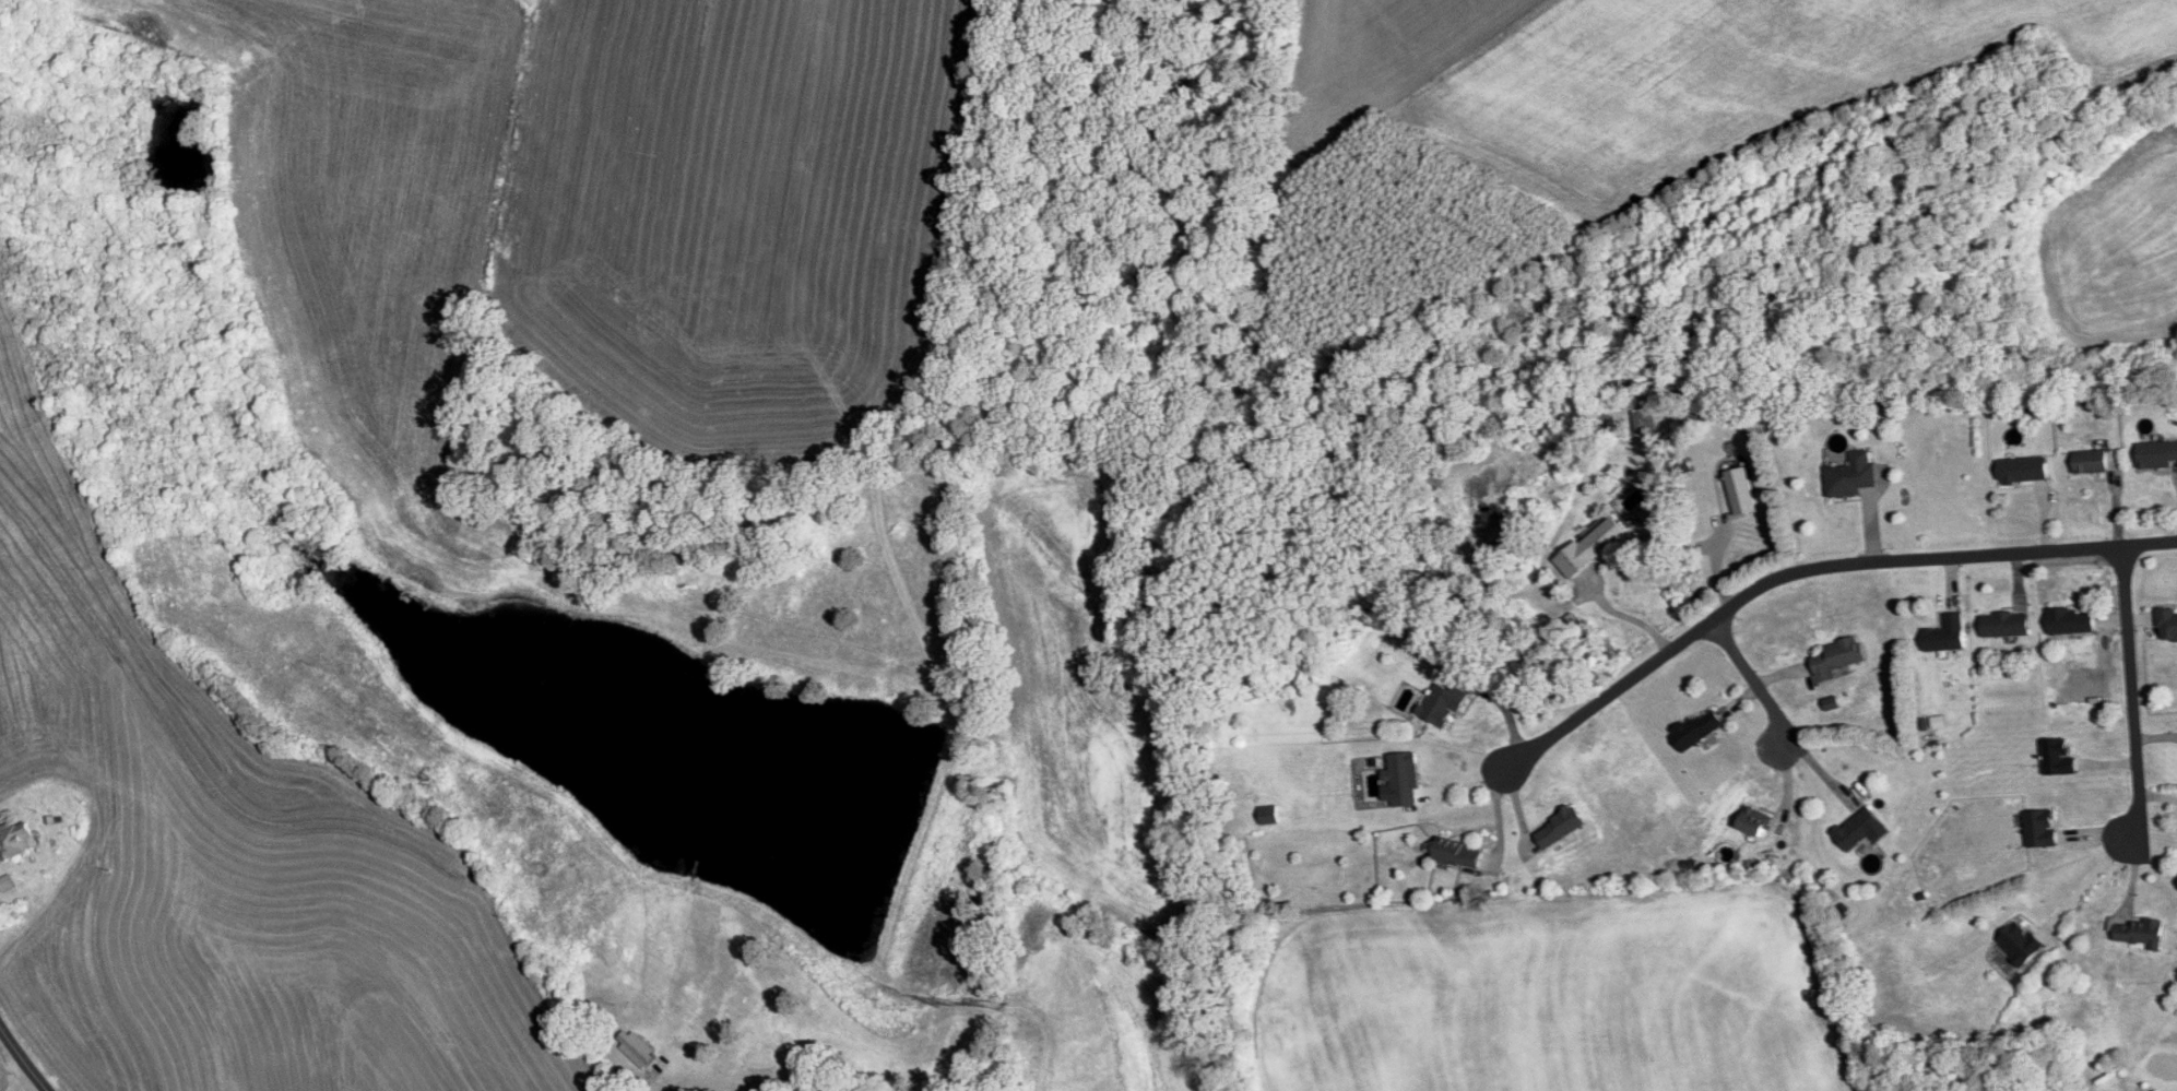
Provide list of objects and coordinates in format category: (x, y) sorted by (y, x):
building: (2155, 455)
building: (2089, 462)
building: (2021, 471)
building: (1849, 477)
building: (1590, 548)
road: (1809, 571)
road: (1628, 617)
building: (2070, 621)
building: (2003, 625)
building: (2166, 625)
building: (1944, 636)
building: (1835, 659)
road: (1751, 679)
road: (2128, 693)
building: (1441, 704)
building: (1694, 730)
building: (2056, 759)
building: (1399, 781)
building: (1267, 816)
building: (1752, 822)
building: (1557, 828)
building: (2038, 830)
building: (1858, 831)
building: (19, 841)
building: (1454, 854)
road: (2082, 885)
building: (2138, 933)
building: (2019, 945)
building: (639, 1048)
road: (22, 1059)

